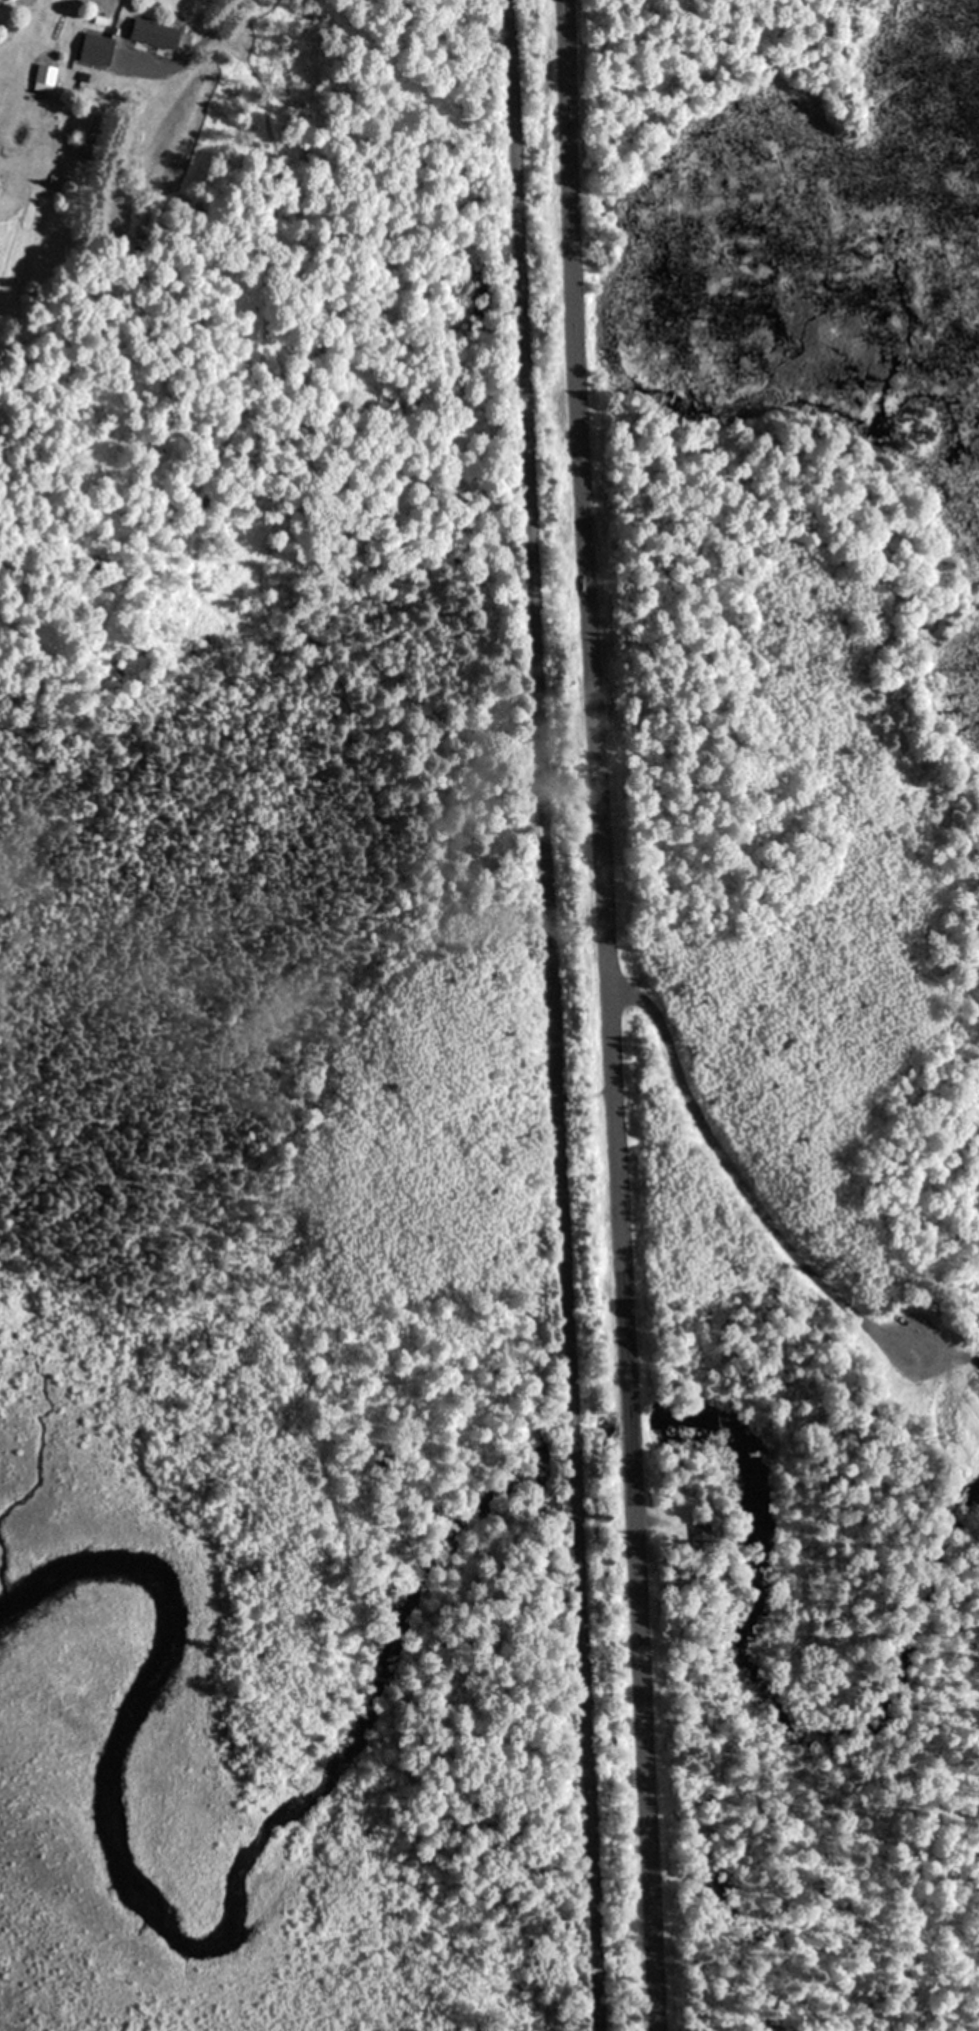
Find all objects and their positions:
road: (207, 30)
building: (153, 32)
building: (96, 48)
building: (88, 137)
road: (548, 1015)
road: (607, 1015)
road: (739, 1181)
dam: (967, 1396)
river: (602, 1417)
building: (699, 1532)
river: (758, 1683)
river: (255, 1864)

